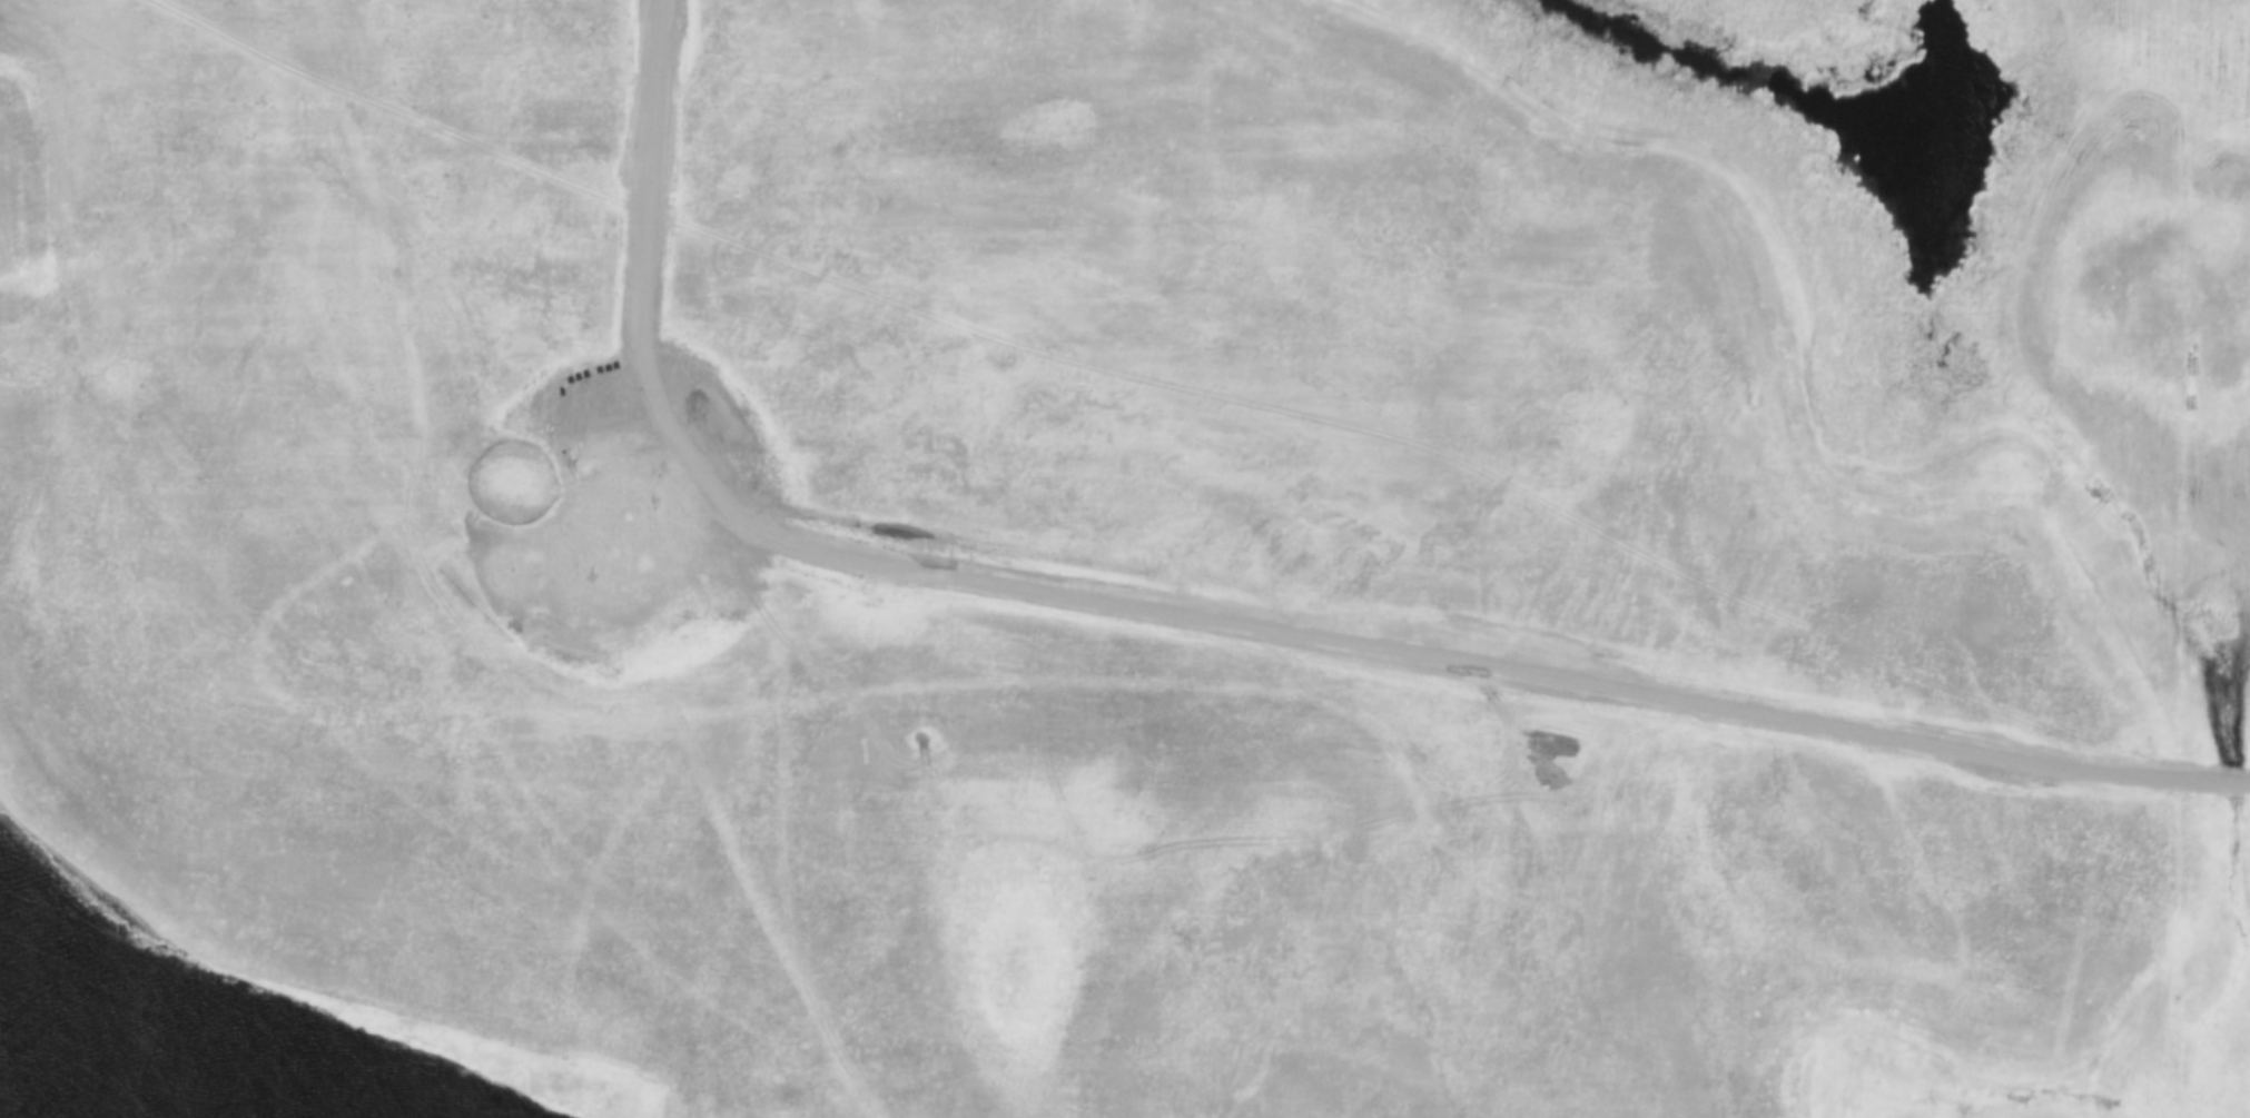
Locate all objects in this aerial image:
wind turbine: (625, 514)

